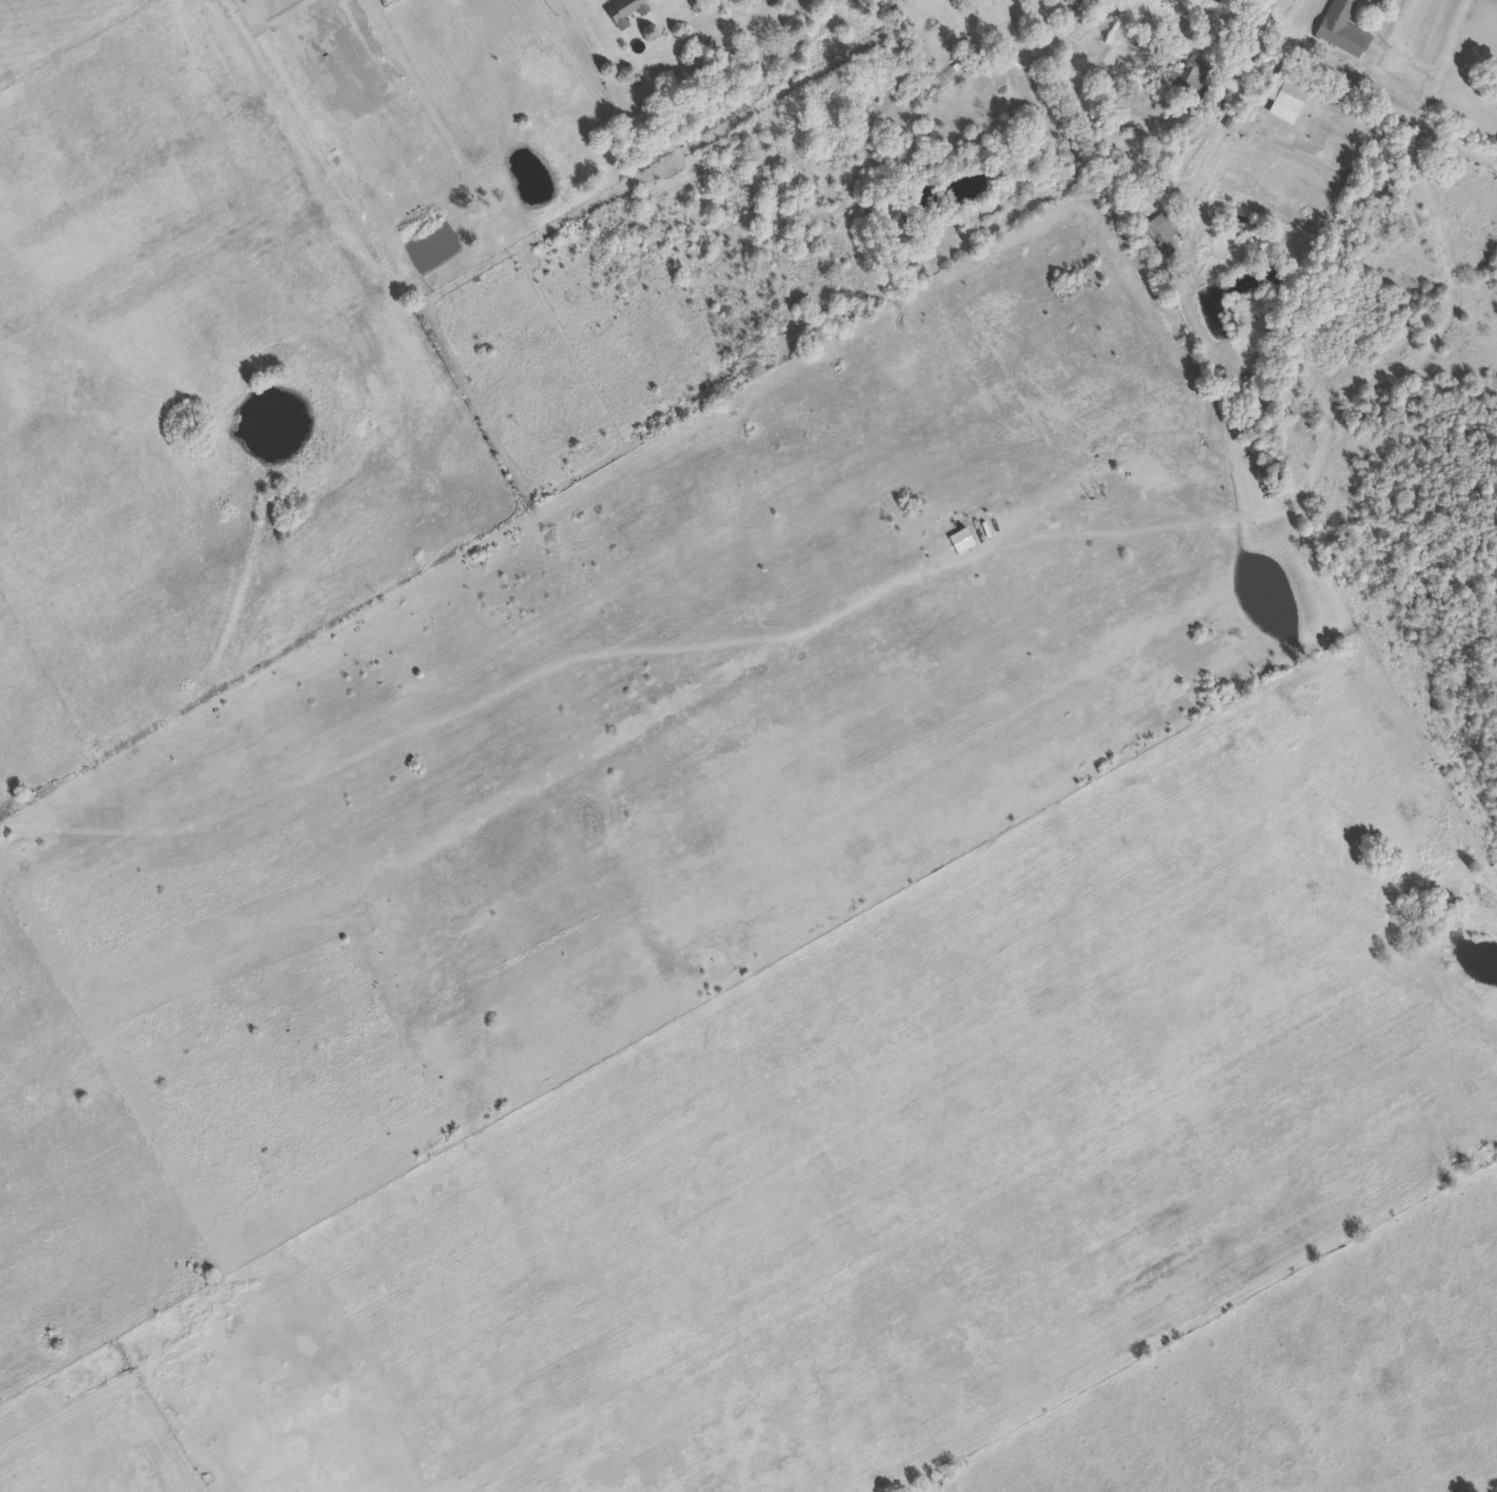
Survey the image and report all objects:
building: (1014, 0)
building: (1017, 0)
building: (1074, 2)
building: (625, 10)
road: (1267, 16)
building: (1343, 29)
building: (1192, 75)
road: (1343, 77)
building: (1139, 94)
building: (1290, 95)
building: (1216, 109)
building: (1242, 126)
building: (1159, 234)
road: (100, 1387)

